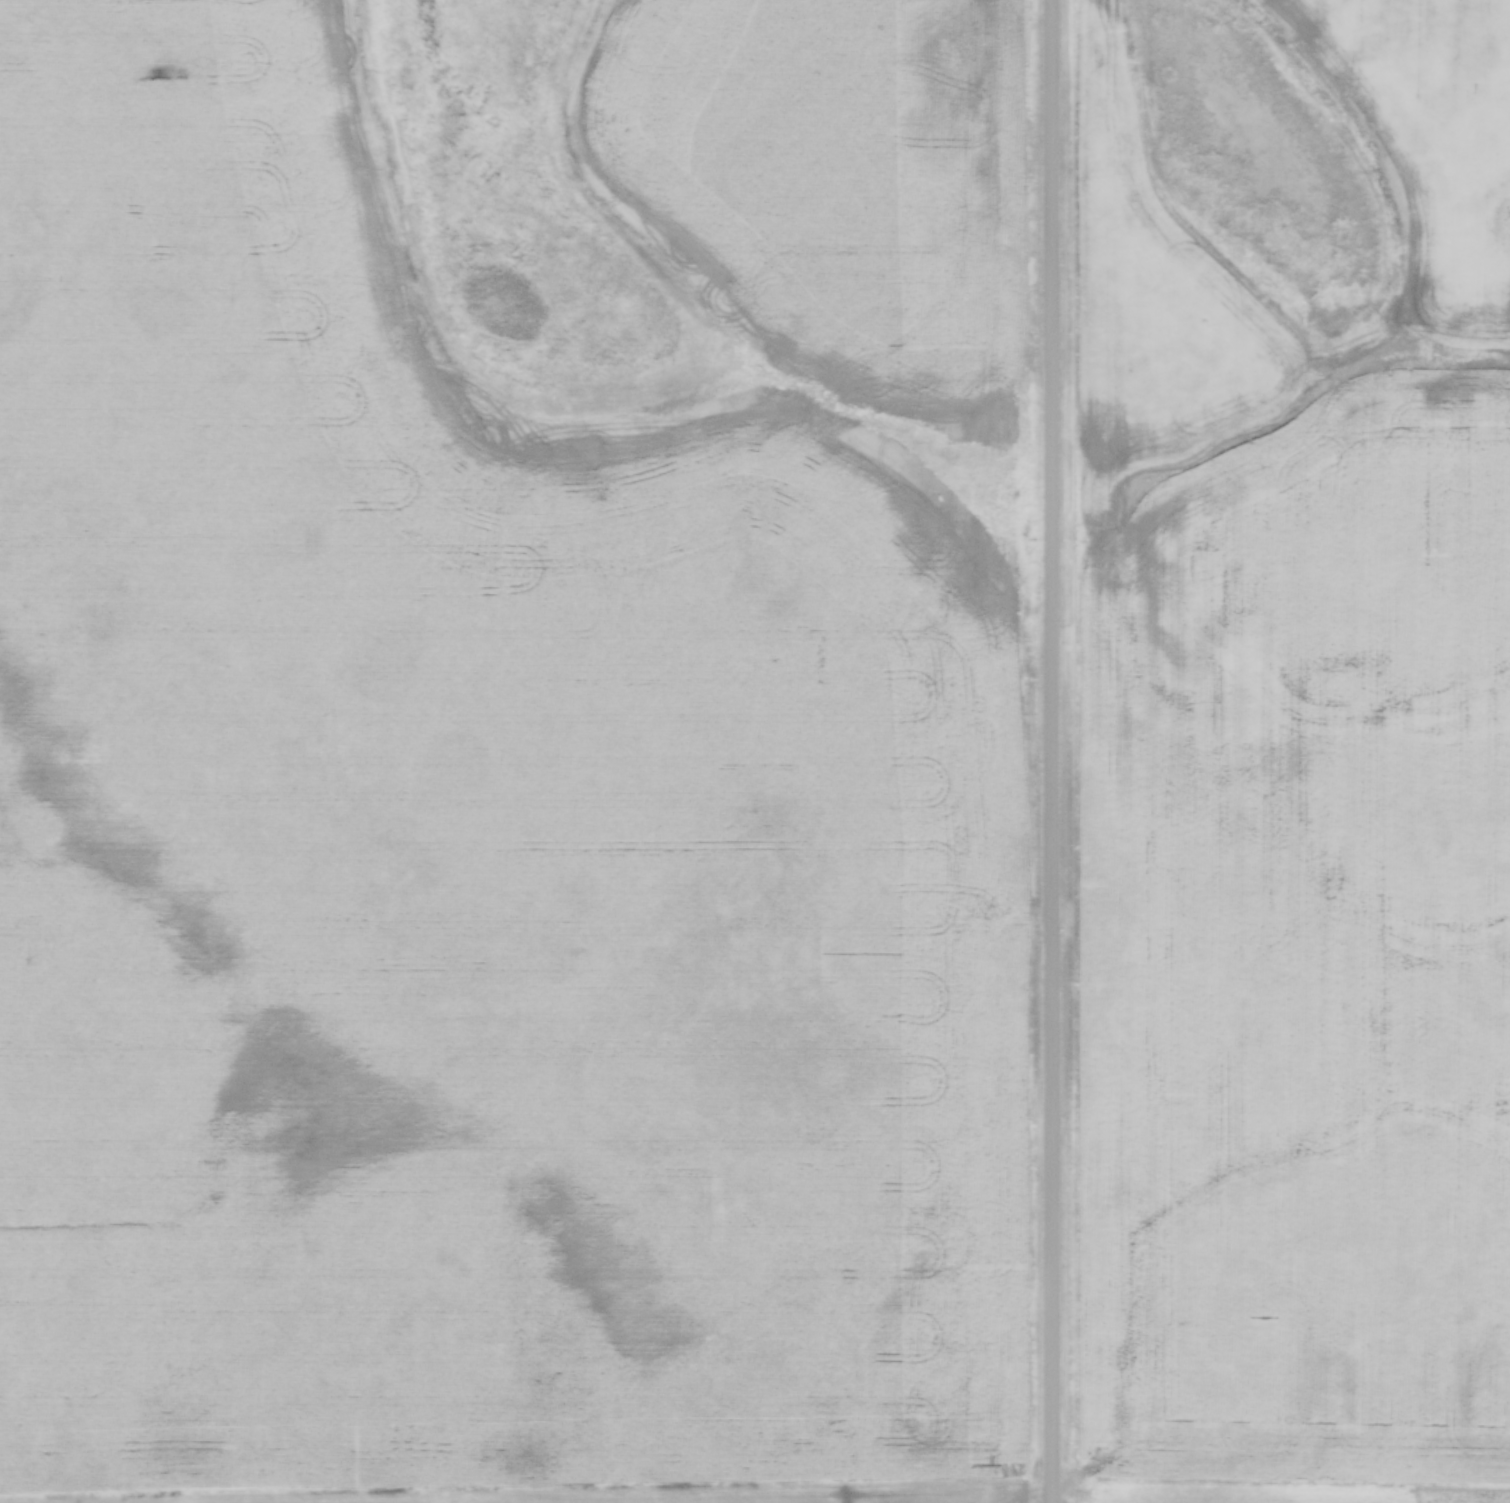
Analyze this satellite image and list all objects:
road: (1052, 751)

